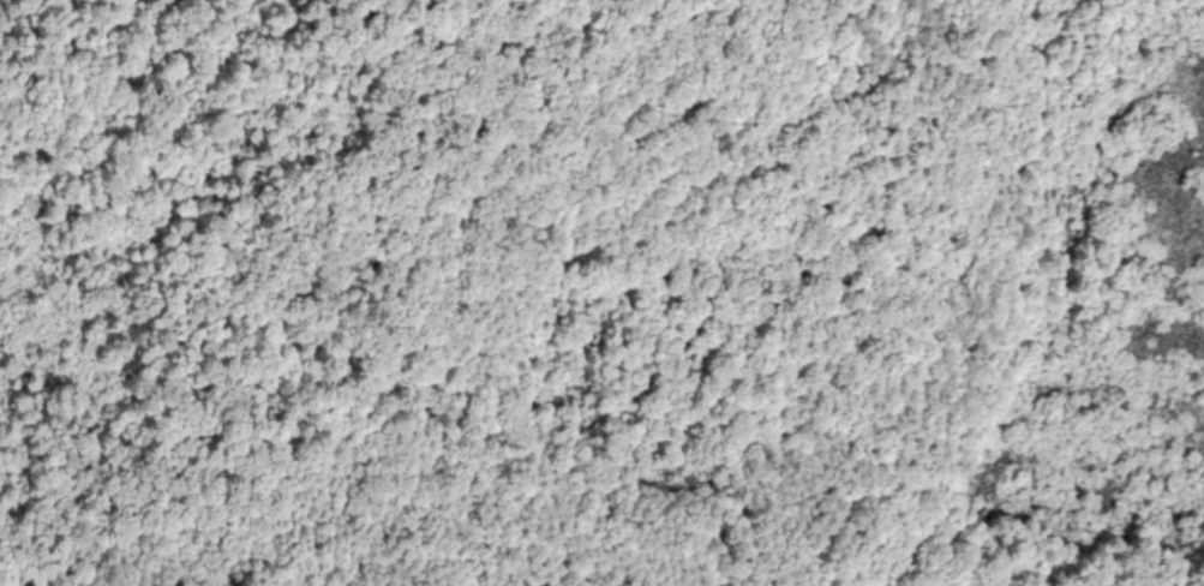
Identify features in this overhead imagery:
park: (601, 293)

